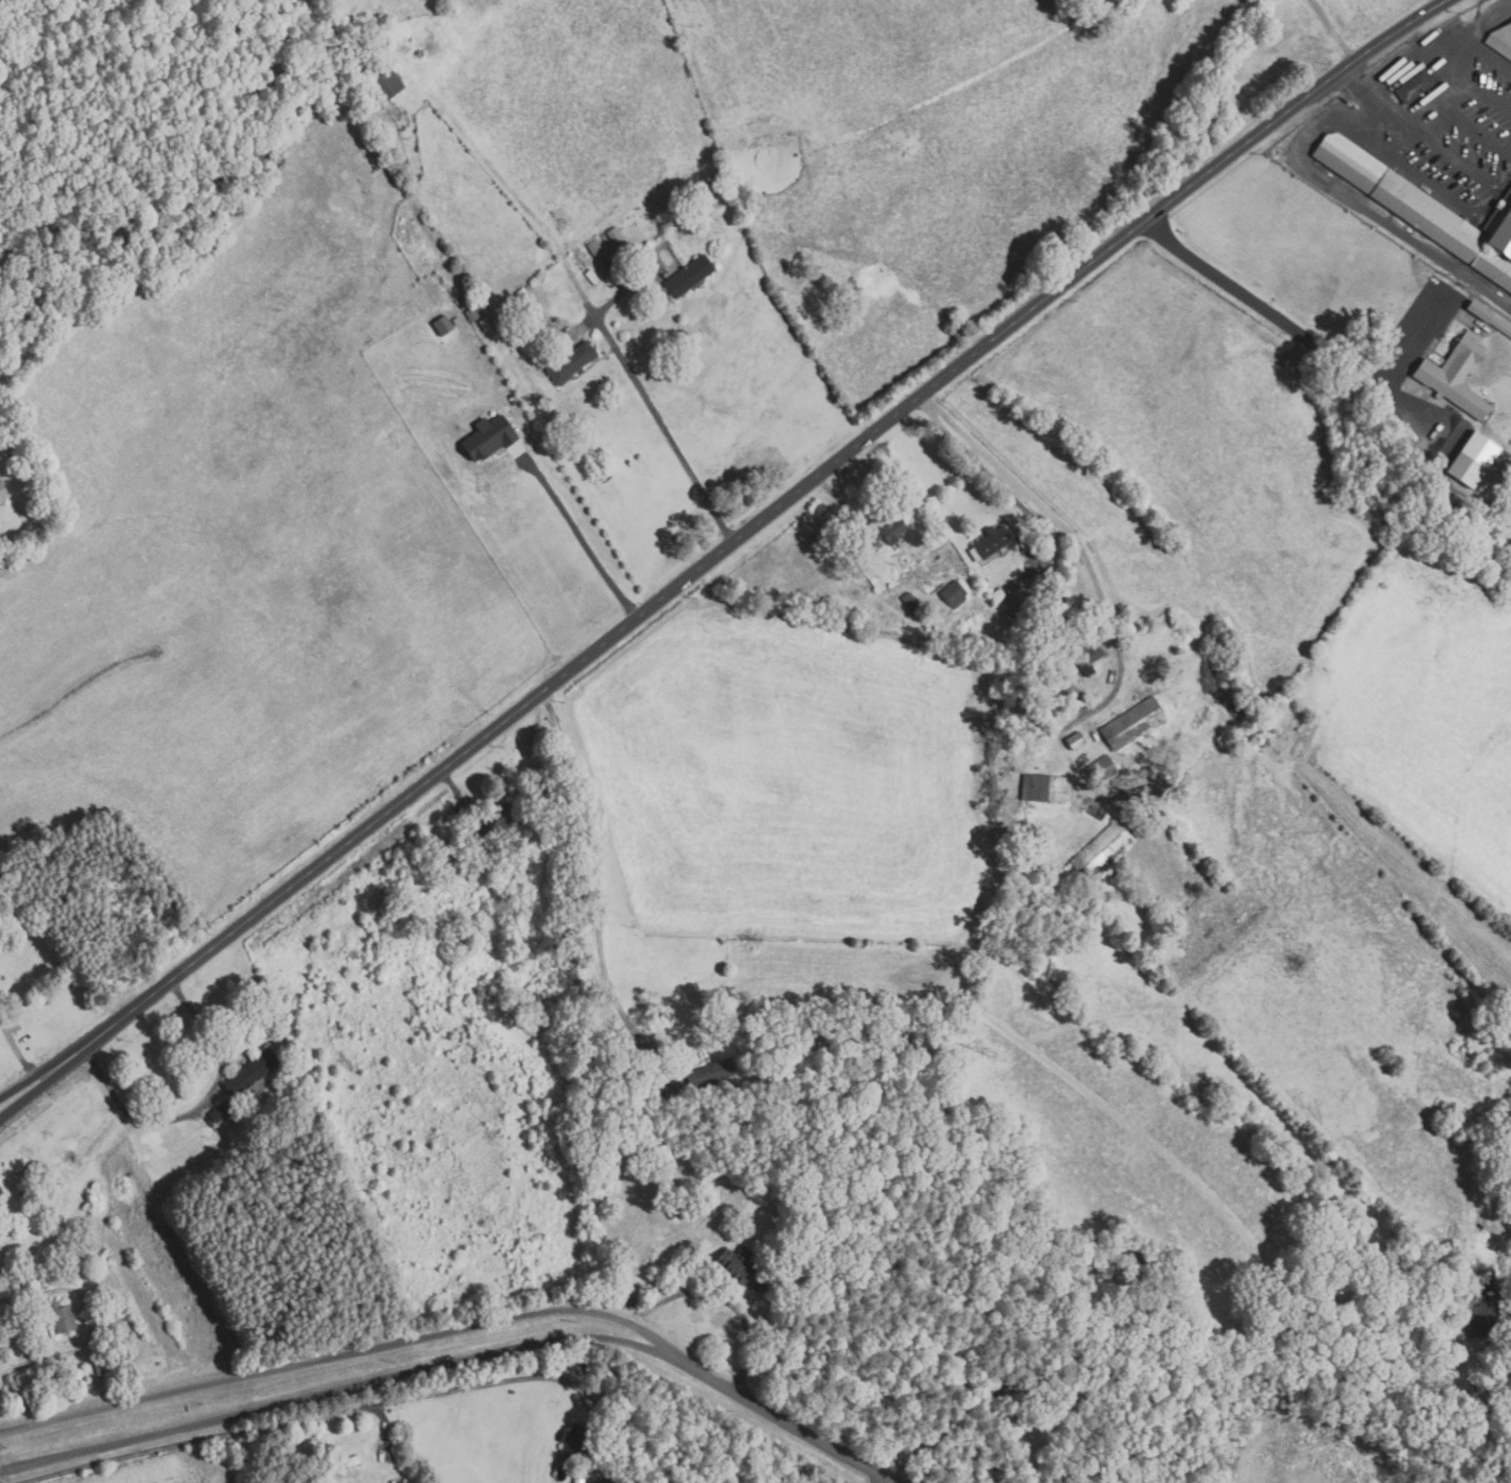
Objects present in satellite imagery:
road: (1333, 32)
building: (376, 40)
building: (1501, 41)
building: (382, 82)
building: (1414, 87)
road: (1381, 97)
building: (1425, 209)
building: (613, 234)
building: (593, 247)
building: (688, 275)
building: (592, 277)
building: (611, 286)
road: (592, 310)
building: (472, 315)
road: (1284, 324)
building: (483, 325)
building: (1499, 326)
building: (570, 362)
building: (538, 367)
building: (1456, 375)
building: (490, 438)
building: (15, 455)
building: (1466, 470)
building: (2, 492)
building: (0, 501)
road: (1038, 518)
building: (885, 534)
road: (745, 536)
road: (573, 540)
building: (1026, 542)
building: (990, 544)
building: (938, 557)
building: (982, 583)
building: (989, 591)
building: (953, 595)
building: (998, 596)
building: (911, 603)
building: (1005, 606)
building: (1084, 657)
building: (1051, 690)
building: (1133, 724)
building: (1075, 741)
building: (1100, 770)
building: (1044, 789)
building: (1094, 810)
building: (496, 821)
building: (1102, 851)
road: (596, 891)
building: (464, 944)
building: (249, 1074)
building: (711, 1075)
building: (619, 1078)
road: (21, 1090)
road: (22, 1096)
building: (641, 1105)
road: (196, 1109)
building: (220, 1113)
building: (1, 1192)
building: (0, 1197)
building: (73, 1263)
building: (741, 1269)
building: (61, 1318)
road: (89, 1323)
road: (339, 1354)
building: (102, 1371)
building: (970, 1378)
road: (486, 1385)
road: (333, 1391)
building: (1023, 1409)
road: (784, 1417)
road: (386, 1424)
road: (939, 1434)
building: (572, 1440)
road: (203, 1442)
building: (343, 1463)
road: (878, 1478)
building: (578, 1480)
building: (400, 1482)
building: (605, 1482)

